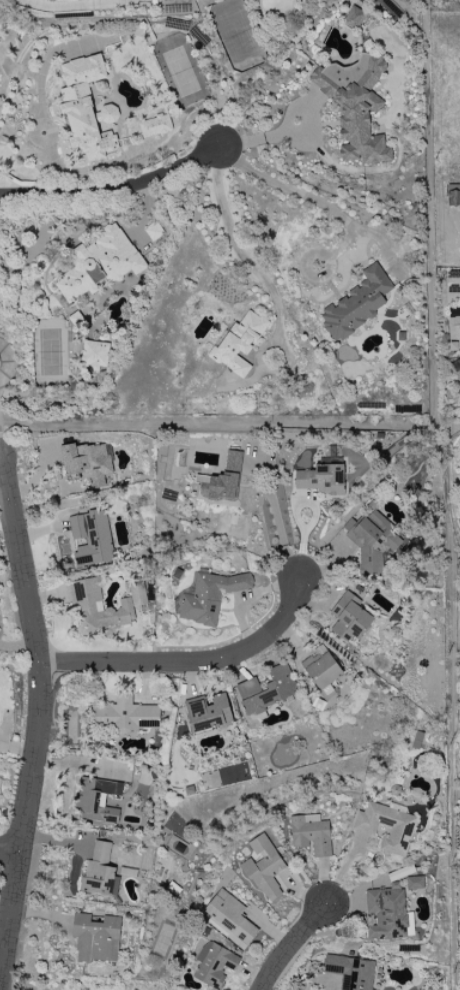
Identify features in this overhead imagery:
road: (72, 5)
building: (352, 18)
building: (354, 106)
building: (84, 108)
building: (153, 126)
road: (113, 190)
road: (292, 191)
building: (152, 231)
road: (237, 250)
building: (98, 263)
building: (355, 304)
building: (454, 332)
building: (237, 344)
building: (94, 355)
road: (456, 408)
building: (86, 462)
building: (321, 477)
building: (221, 479)
road: (277, 523)
building: (90, 537)
building: (370, 541)
building: (87, 606)
building: (348, 618)
road: (191, 661)
building: (319, 668)
building: (265, 690)
building: (208, 713)
building: (125, 715)
road: (41, 717)
building: (96, 800)
building: (399, 832)
building: (309, 834)
road: (10, 853)
building: (263, 868)
building: (98, 872)
building: (413, 883)
building: (228, 918)
building: (94, 938)
road: (292, 947)
building: (212, 964)
building: (349, 972)

